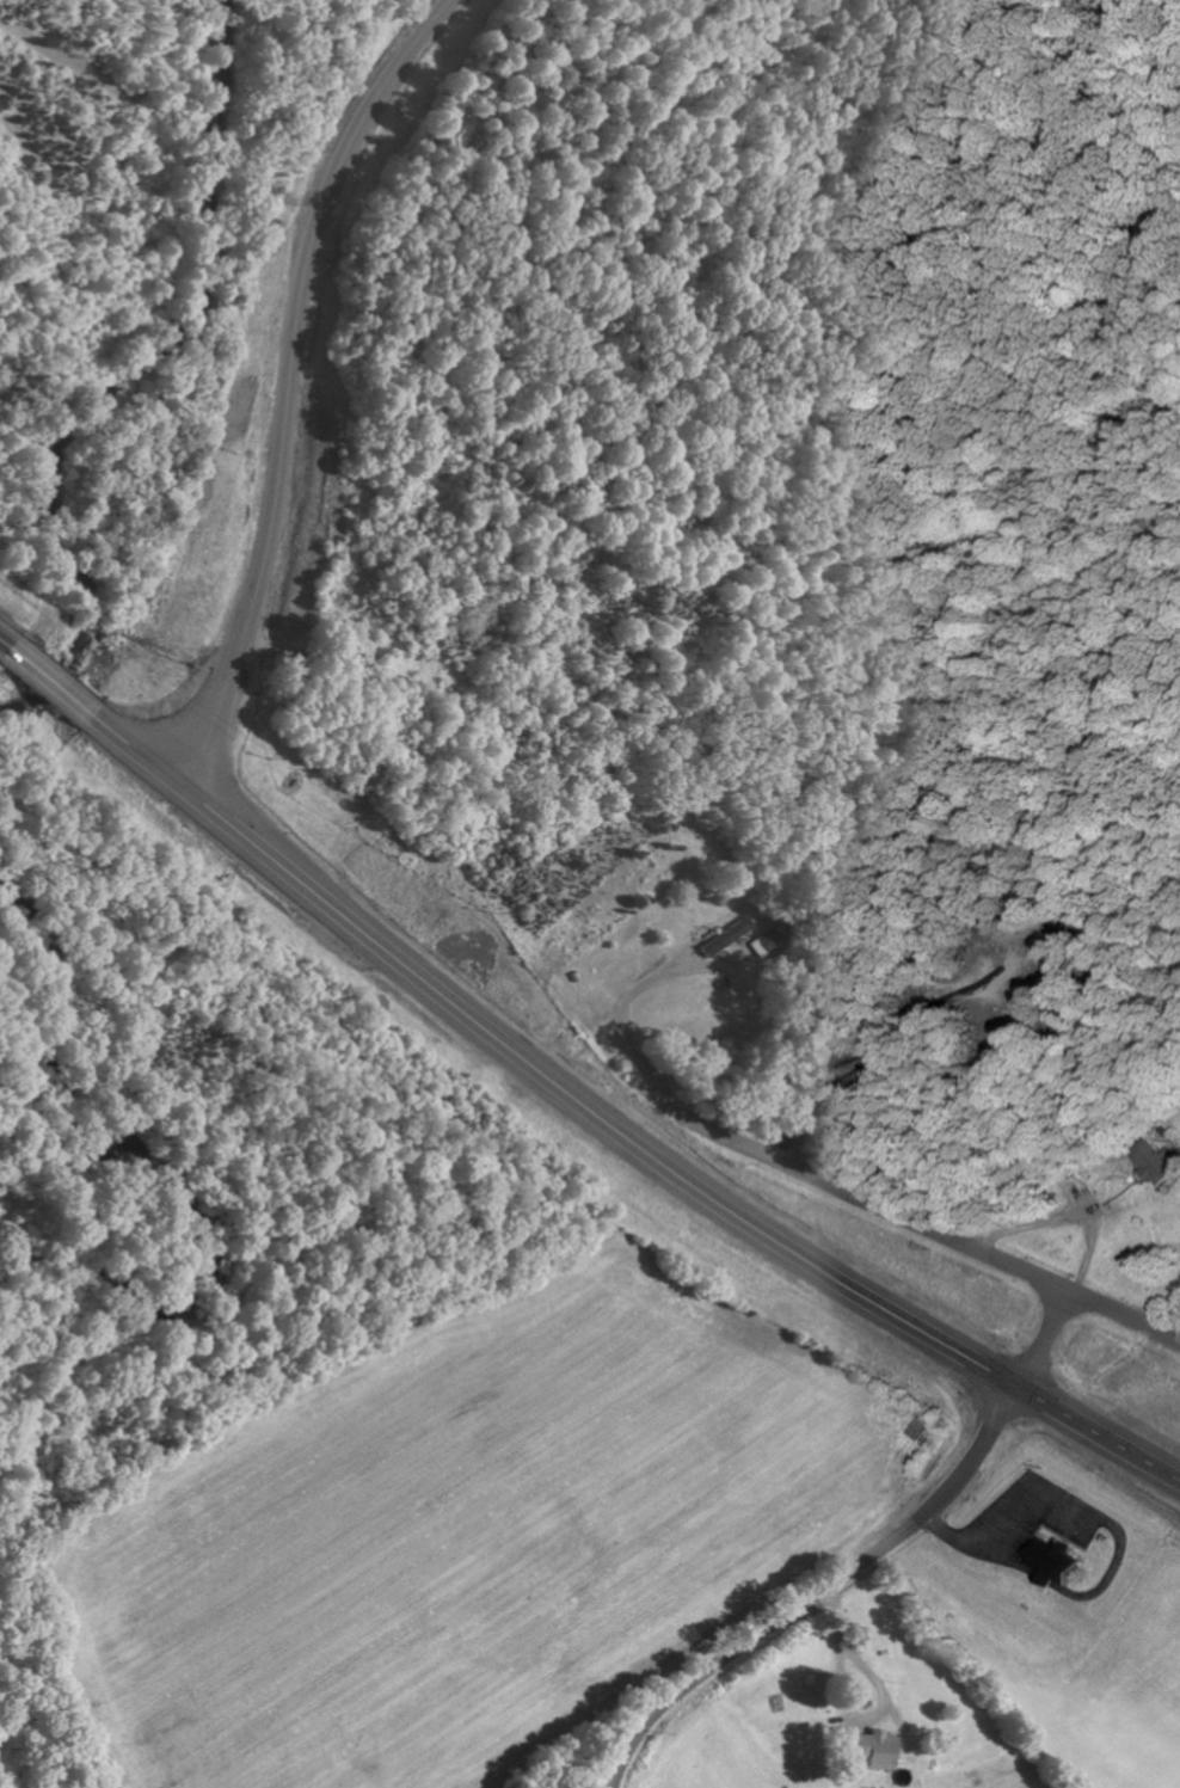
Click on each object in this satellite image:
road: (291, 382)
road: (79, 712)
building: (724, 936)
road: (649, 1160)
building: (1156, 1162)
road: (918, 1227)
road: (861, 1561)
building: (1051, 1562)
building: (872, 1747)

